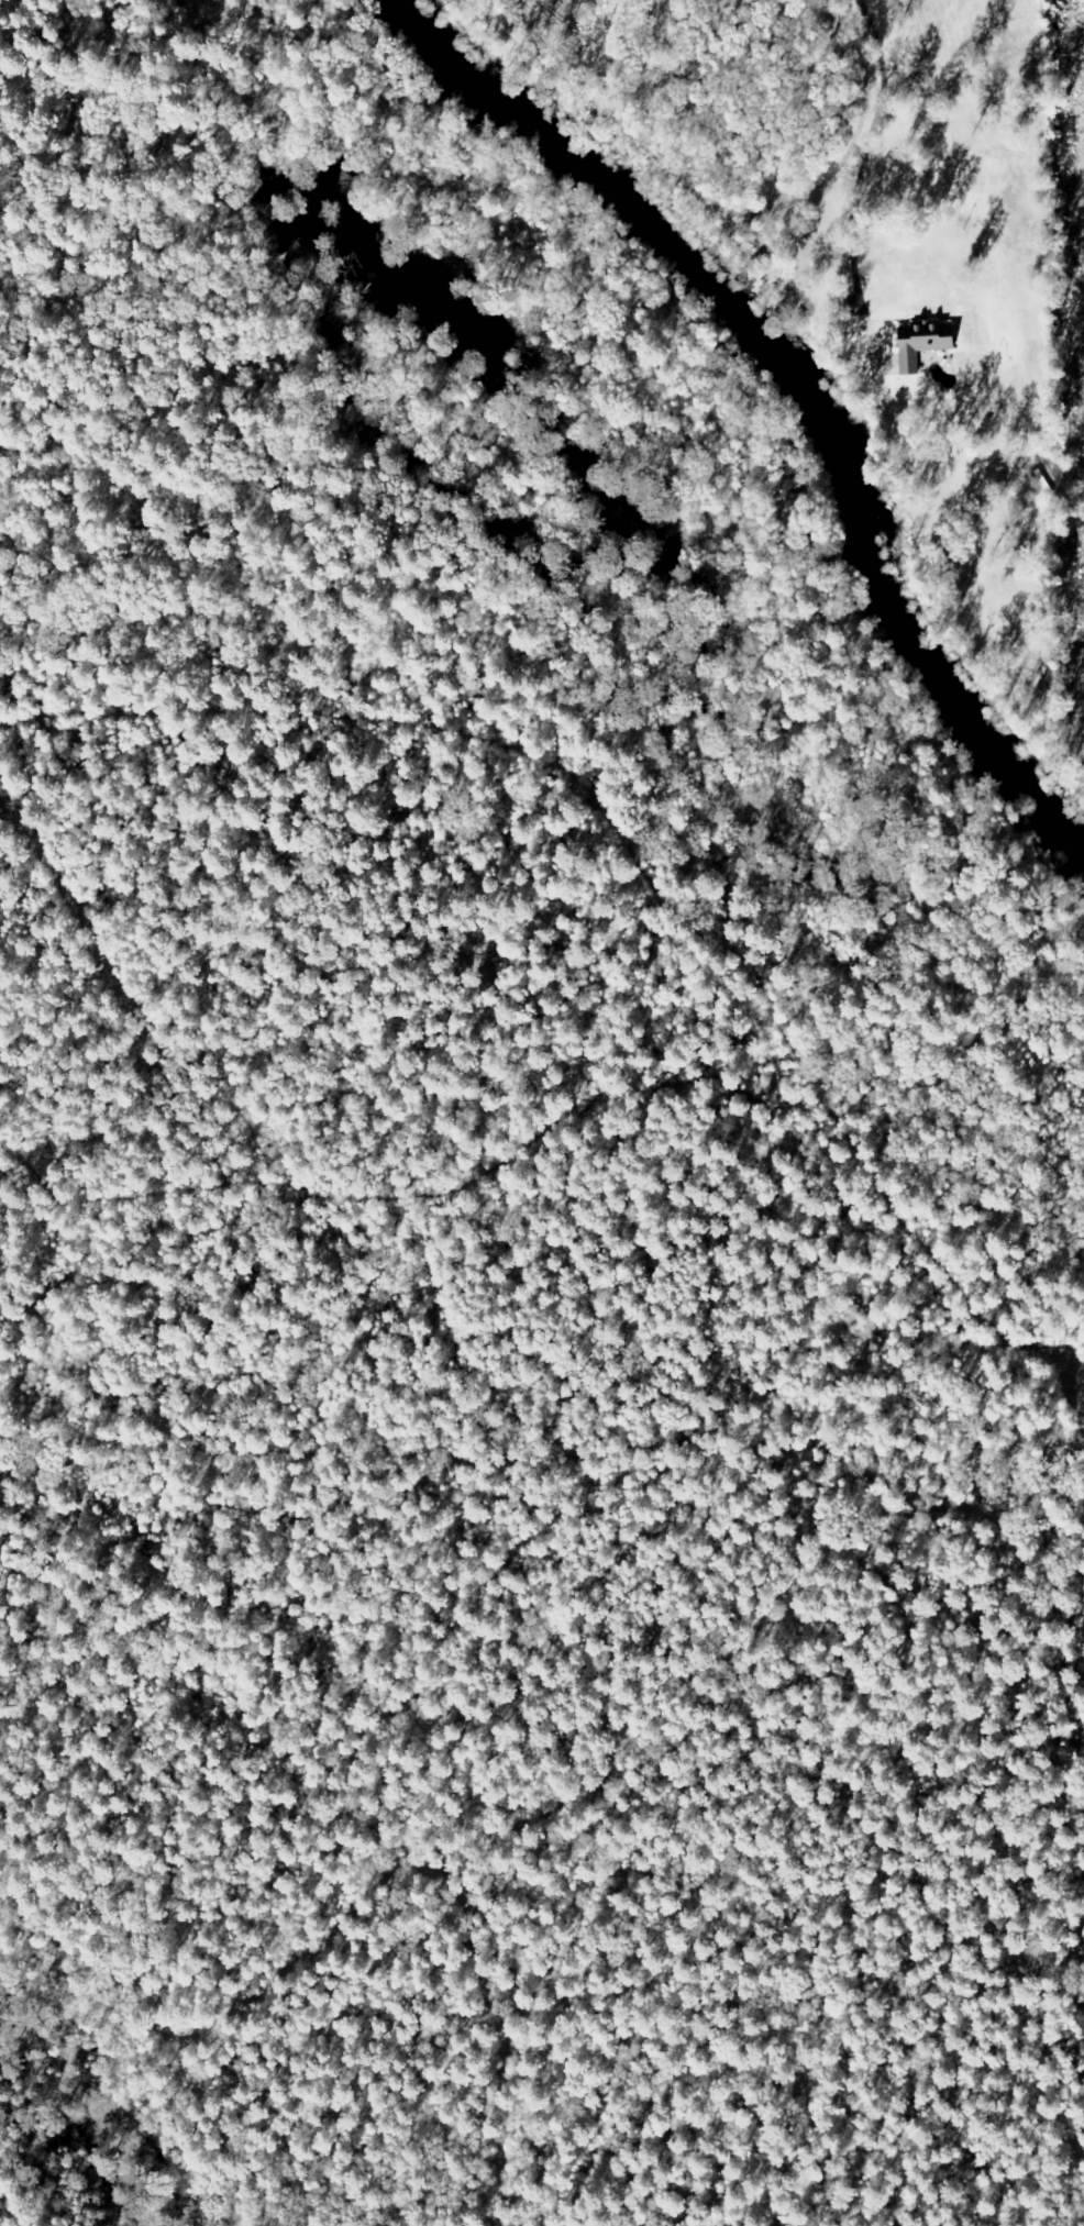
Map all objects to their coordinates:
railway: (717, 210)
building: (926, 344)
river: (798, 385)

